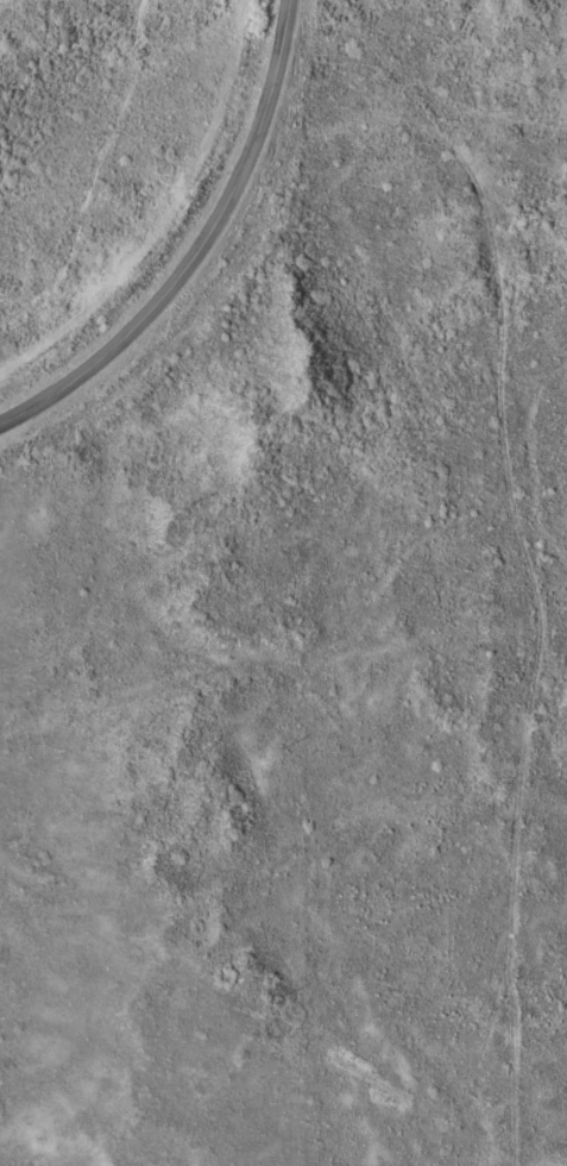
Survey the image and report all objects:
road: (200, 253)

